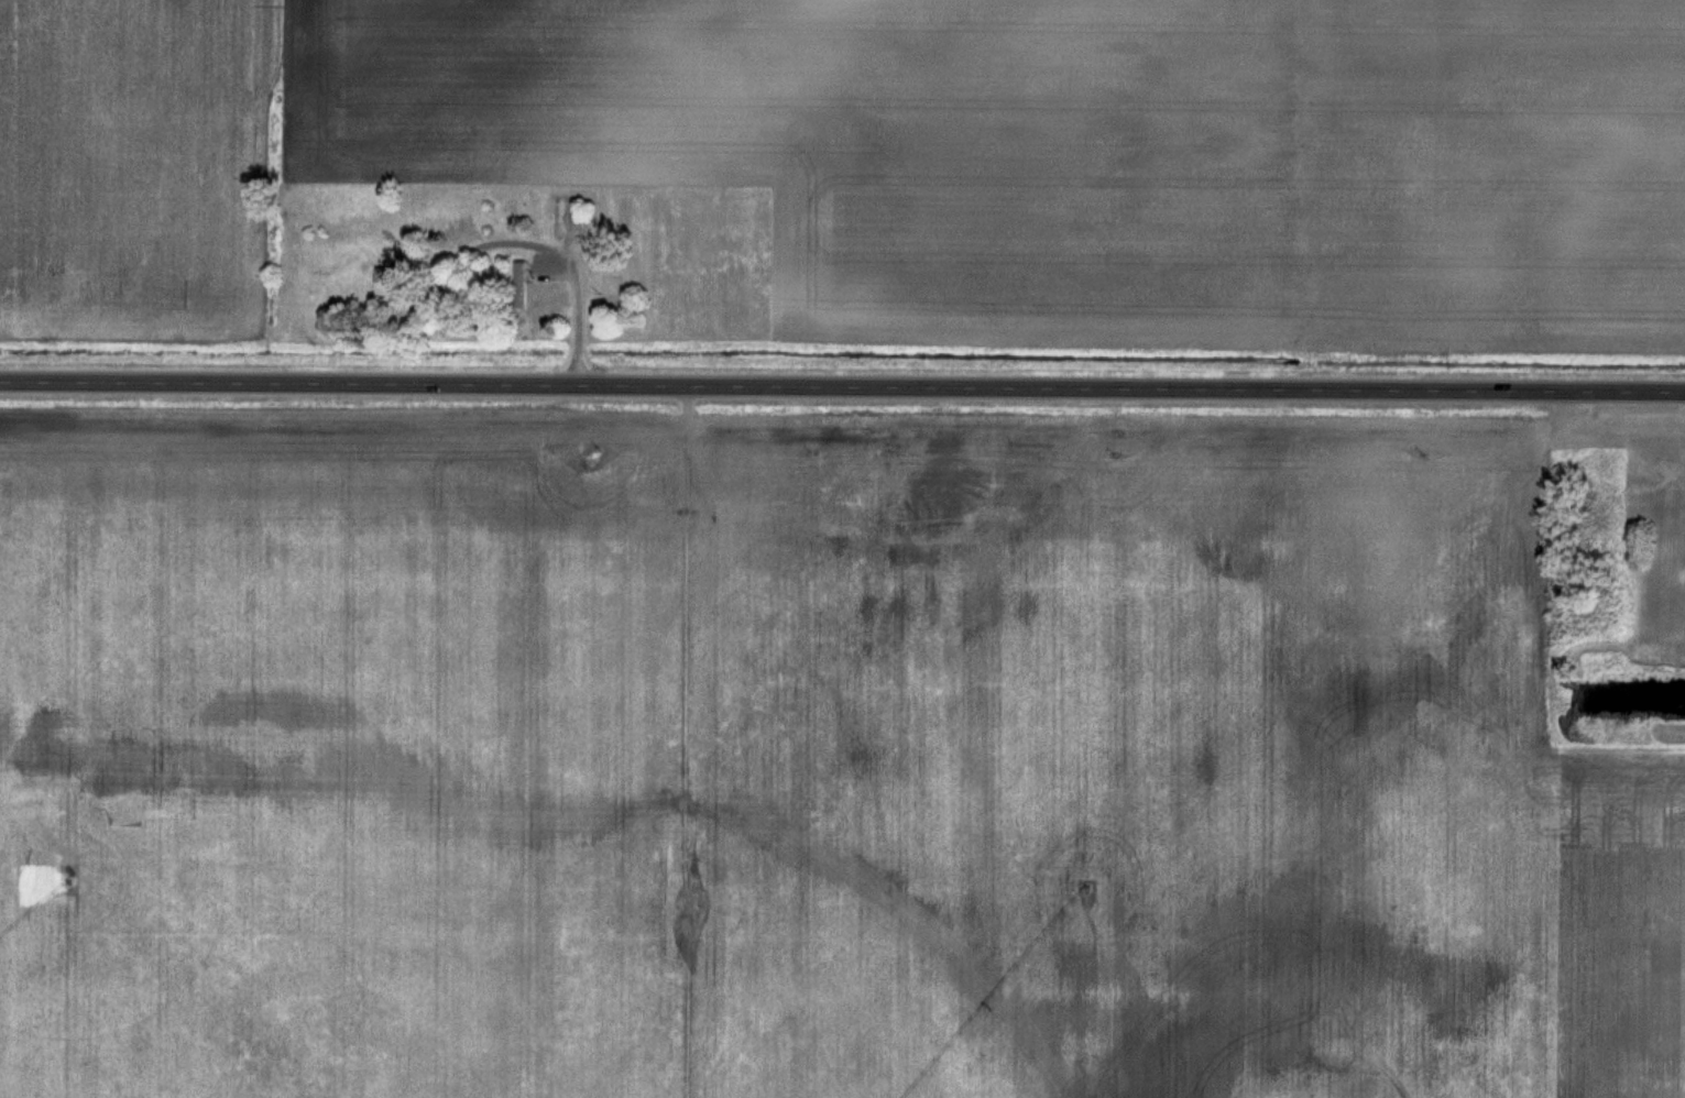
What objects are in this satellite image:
building: (448, 235)
building: (524, 274)
building: (397, 283)
road: (578, 315)
road: (842, 386)

